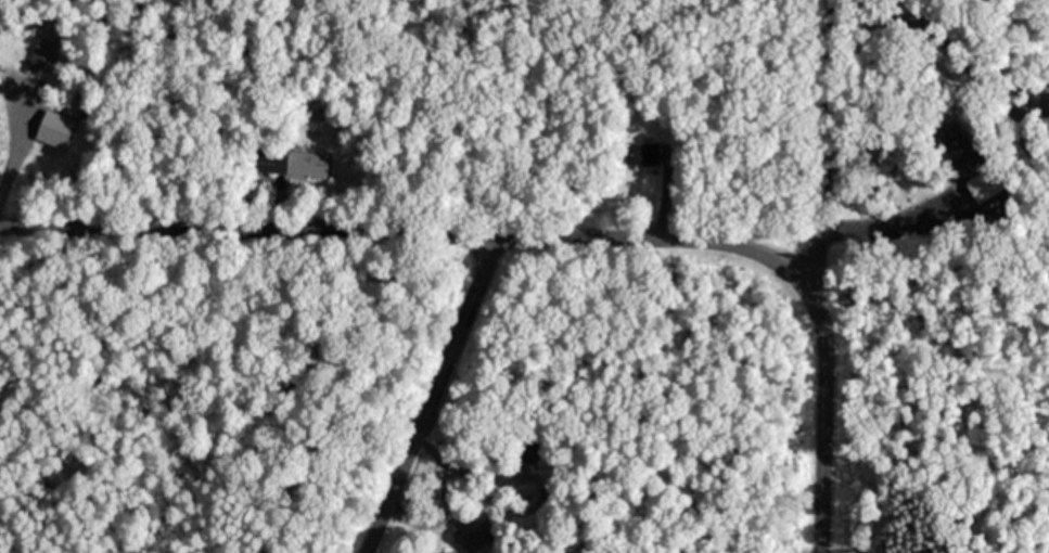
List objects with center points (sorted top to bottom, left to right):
building: (41, 57)
building: (53, 127)
road: (10, 132)
road: (821, 137)
building: (636, 152)
building: (289, 160)
road: (546, 234)
road: (431, 394)
building: (472, 530)

